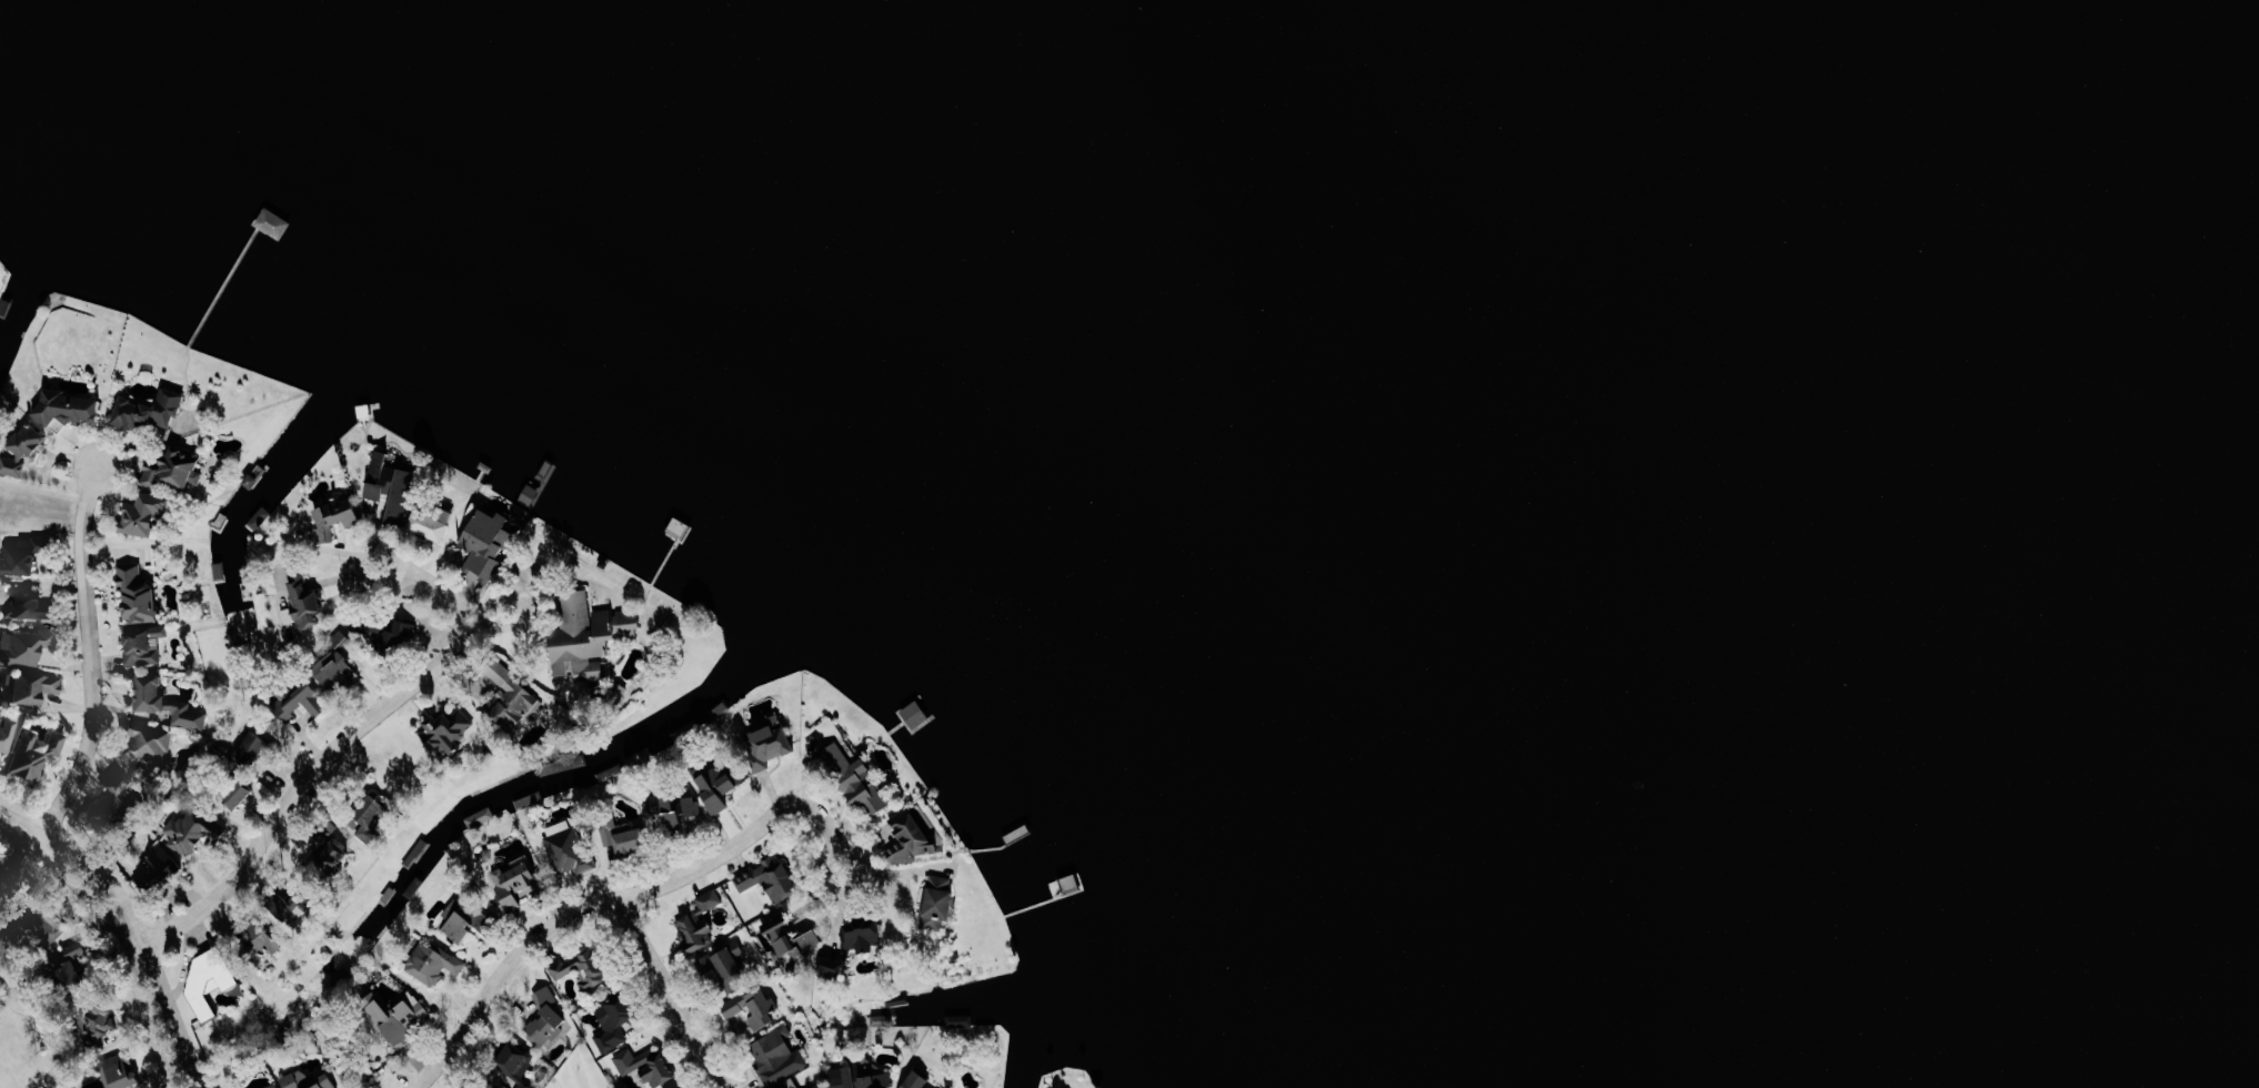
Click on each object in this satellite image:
river: (2058, 278)
building: (71, 409)
building: (150, 410)
building: (24, 451)
building: (175, 469)
building: (392, 490)
building: (144, 514)
building: (262, 516)
building: (338, 517)
building: (431, 525)
building: (490, 542)
building: (22, 555)
building: (139, 596)
building: (303, 601)
building: (27, 604)
building: (396, 635)
building: (589, 637)
building: (144, 645)
building: (23, 647)
road: (98, 652)
building: (335, 665)
building: (36, 686)
building: (514, 695)
building: (302, 702)
building: (167, 704)
building: (448, 729)
building: (7, 734)
road: (354, 739)
building: (772, 742)
building: (150, 743)
building: (257, 748)
building: (36, 754)
building: (722, 788)
building: (240, 795)
building: (118, 802)
building: (677, 807)
building: (483, 816)
building: (374, 822)
building: (190, 833)
road: (50, 837)
building: (625, 837)
building: (913, 840)
building: (570, 852)
building: (330, 857)
building: (158, 868)
building: (772, 878)
building: (7, 882)
building: (516, 882)
road: (637, 893)
building: (940, 903)
building: (291, 906)
building: (452, 911)
road: (135, 919)
building: (470, 923)
building: (701, 923)
building: (48, 927)
road: (122, 931)
building: (862, 934)
building: (792, 936)
building: (264, 939)
road: (143, 948)
building: (433, 963)
building: (833, 967)
building: (584, 968)
building: (727, 968)
building: (79, 973)
building: (211, 977)
road: (675, 994)
building: (755, 1010)
building: (399, 1017)
building: (549, 1019)
building: (102, 1021)
building: (616, 1021)
building: (777, 1055)
building: (518, 1062)
building: (646, 1066)
building: (121, 1071)
building: (861, 1078)
building: (309, 1080)
building: (918, 1080)
building: (783, 1086)
building: (272, 1087)
building: (684, 1087)
building: (817, 1087)

